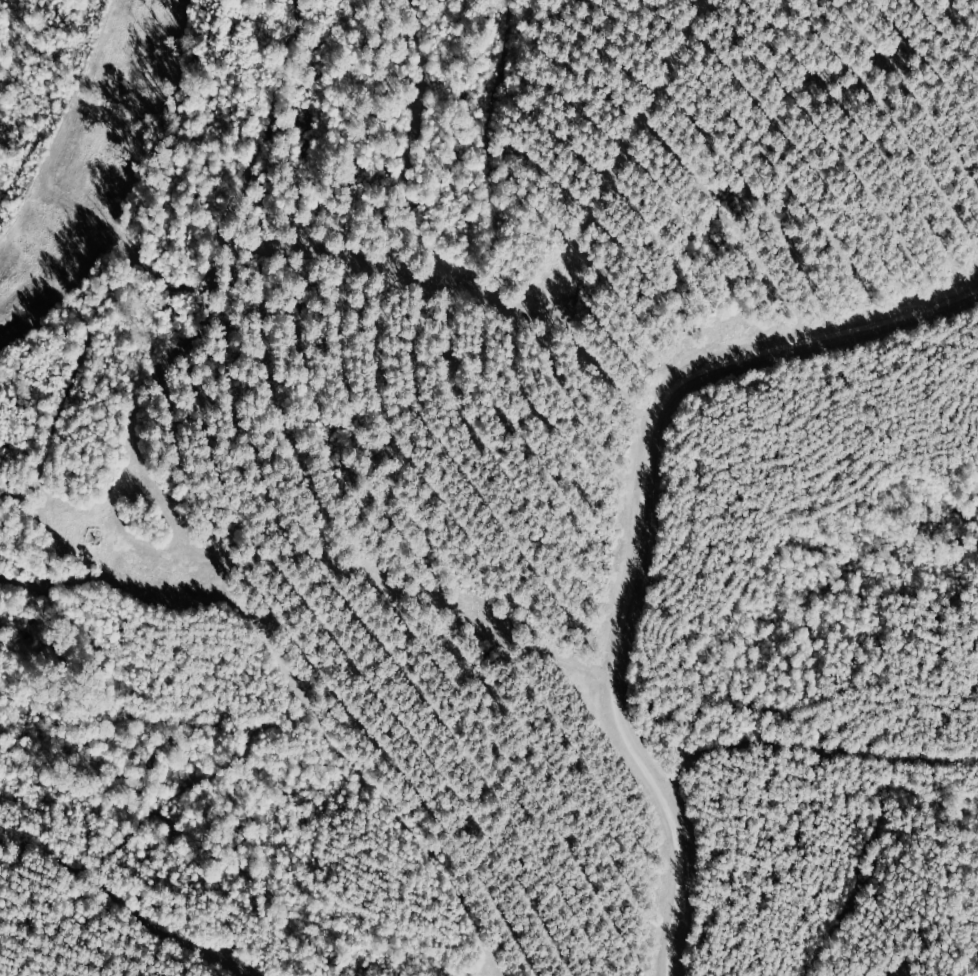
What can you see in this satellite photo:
road: (639, 528)

